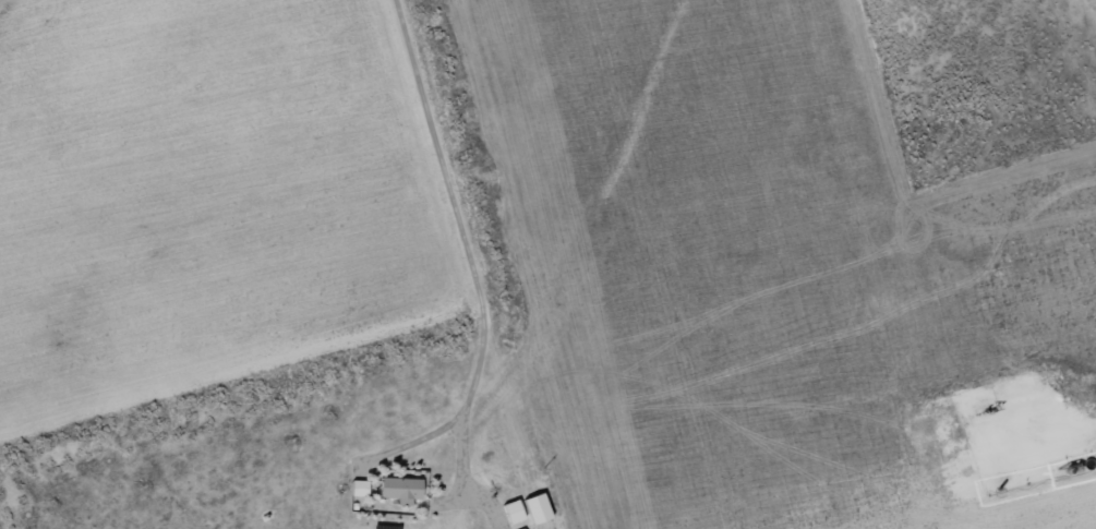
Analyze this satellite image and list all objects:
road: (922, 472)
building: (538, 508)
building: (514, 512)
building: (522, 528)

